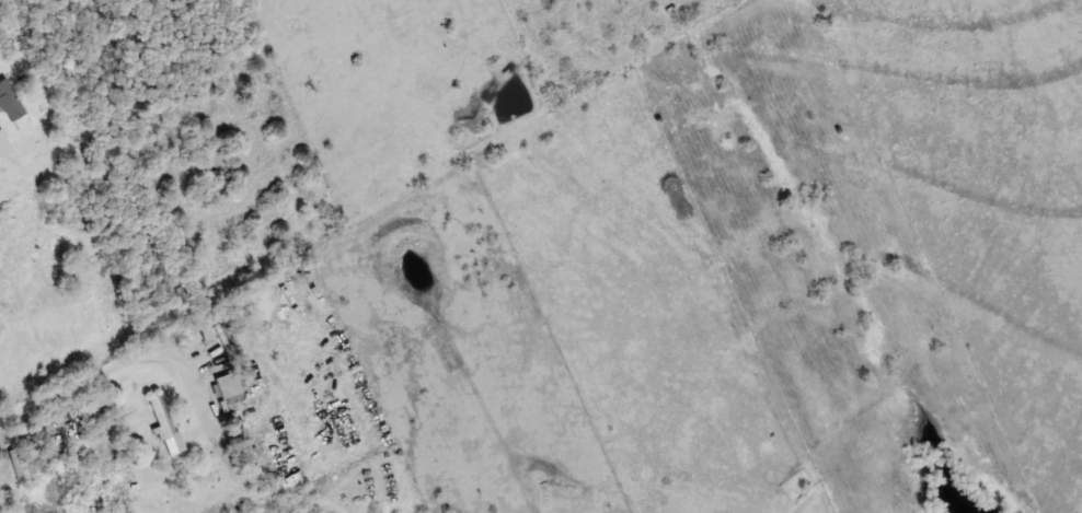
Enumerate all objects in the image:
building: (9, 103)
building: (65, 272)
road: (172, 342)
building: (228, 388)
building: (159, 416)

